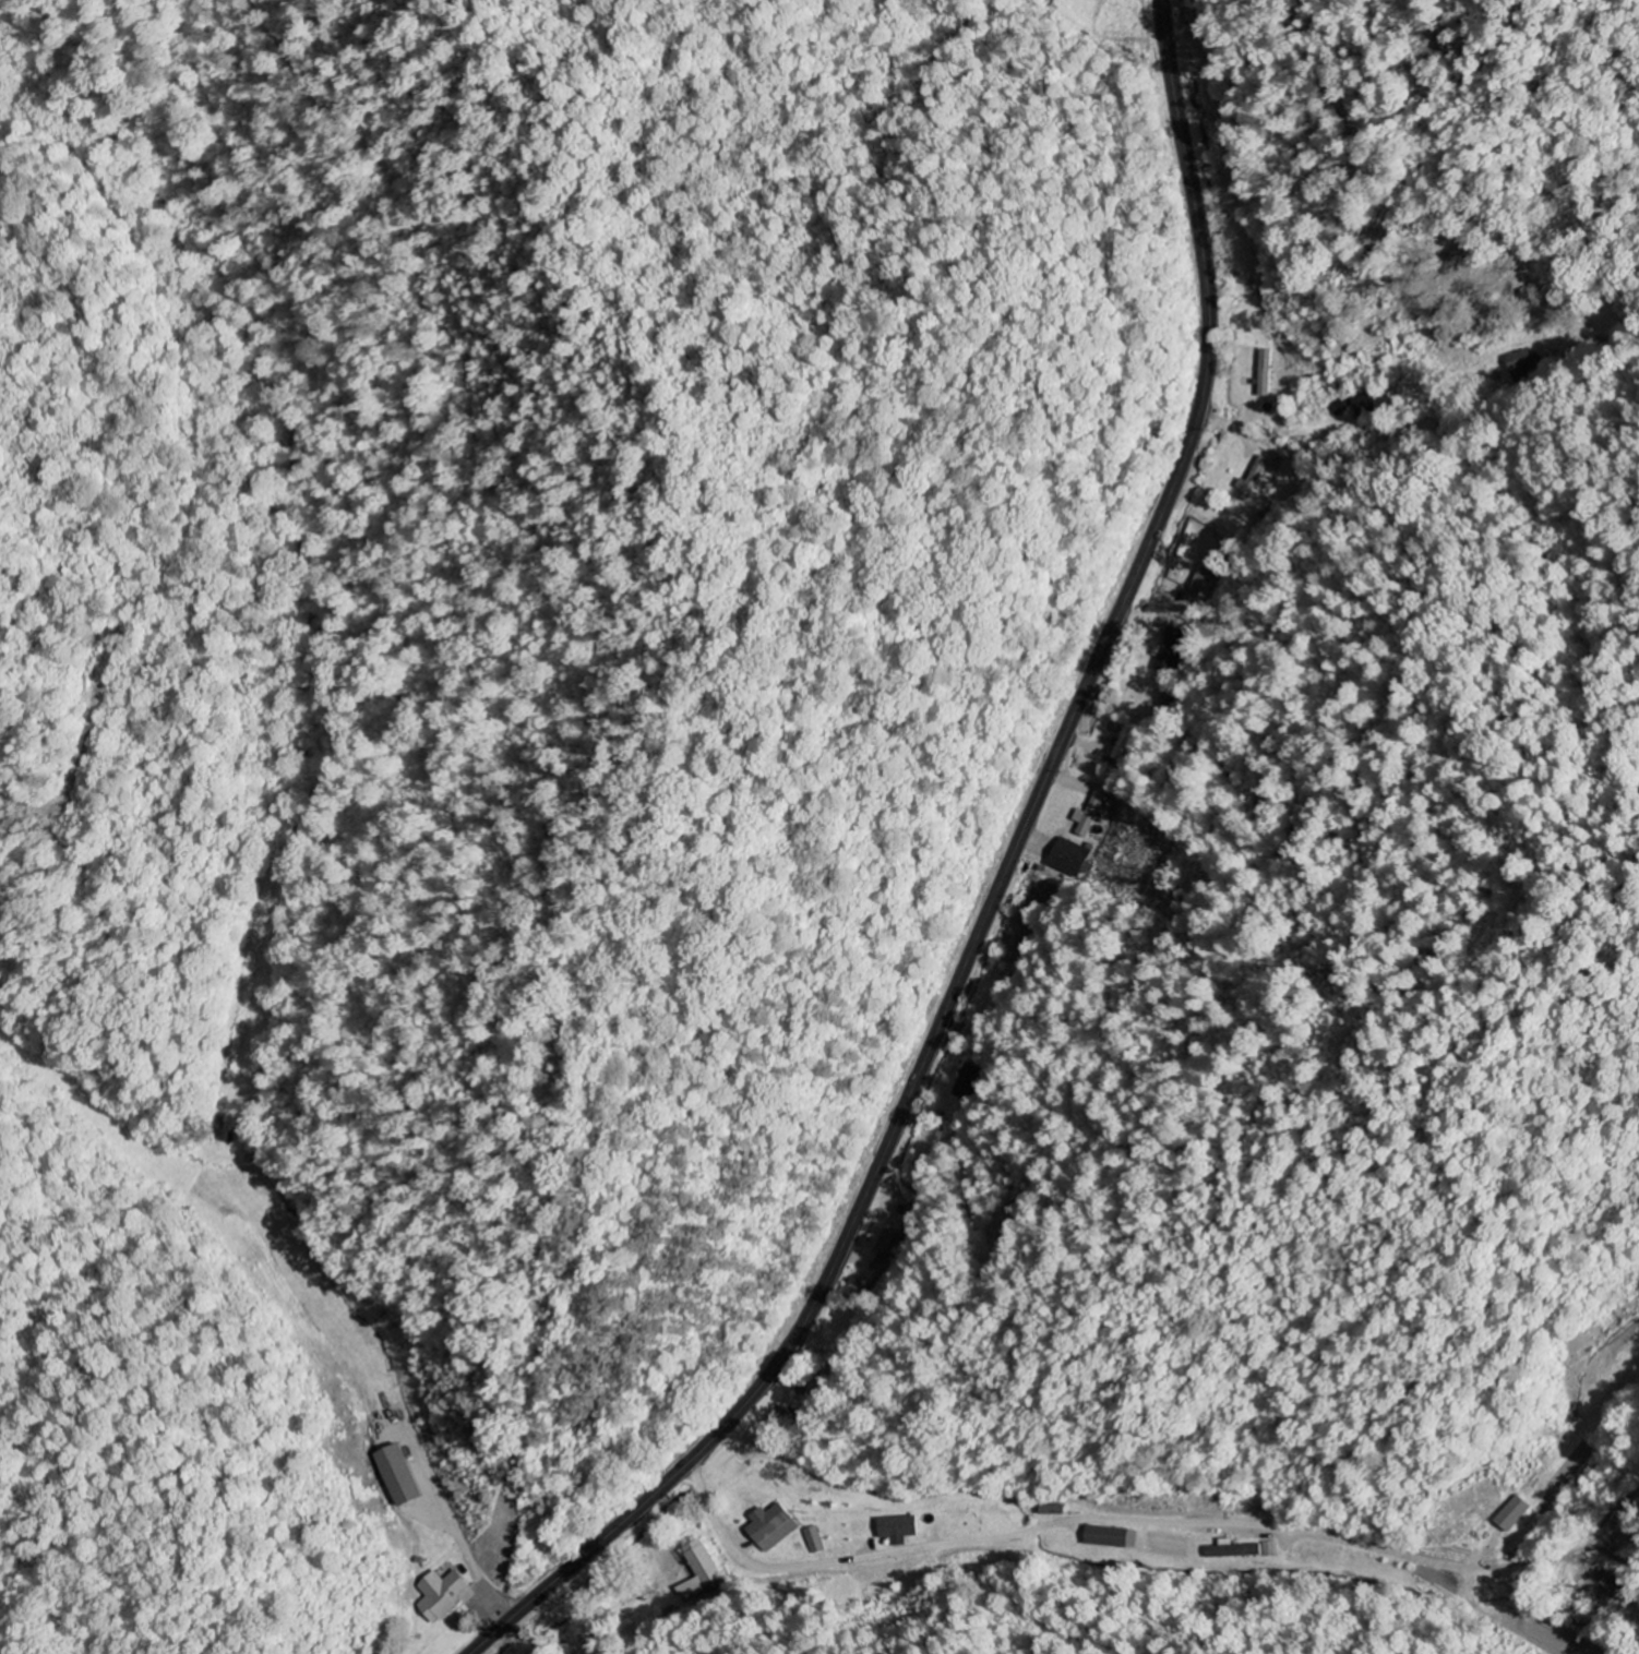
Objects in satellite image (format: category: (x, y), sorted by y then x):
building: (1266, 374)
building: (1367, 405)
building: (1341, 410)
road: (1211, 418)
building: (1253, 482)
building: (1204, 575)
building: (1170, 657)
building: (1093, 815)
building: (1072, 860)
road: (993, 894)
road: (953, 1027)
building: (969, 1082)
building: (882, 1243)
building: (397, 1476)
building: (1052, 1510)
building: (1516, 1514)
building: (773, 1527)
building: (898, 1530)
building: (1111, 1538)
building: (1239, 1556)
building: (702, 1574)
building: (441, 1596)

